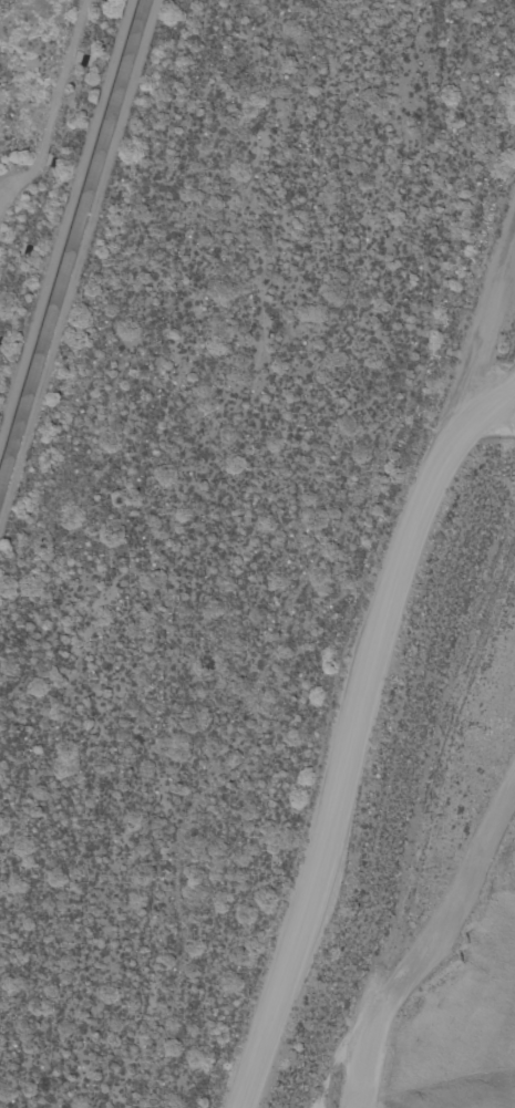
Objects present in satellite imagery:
quarry: (509, 359)
quarry: (431, 843)
quarry: (350, 1102)

